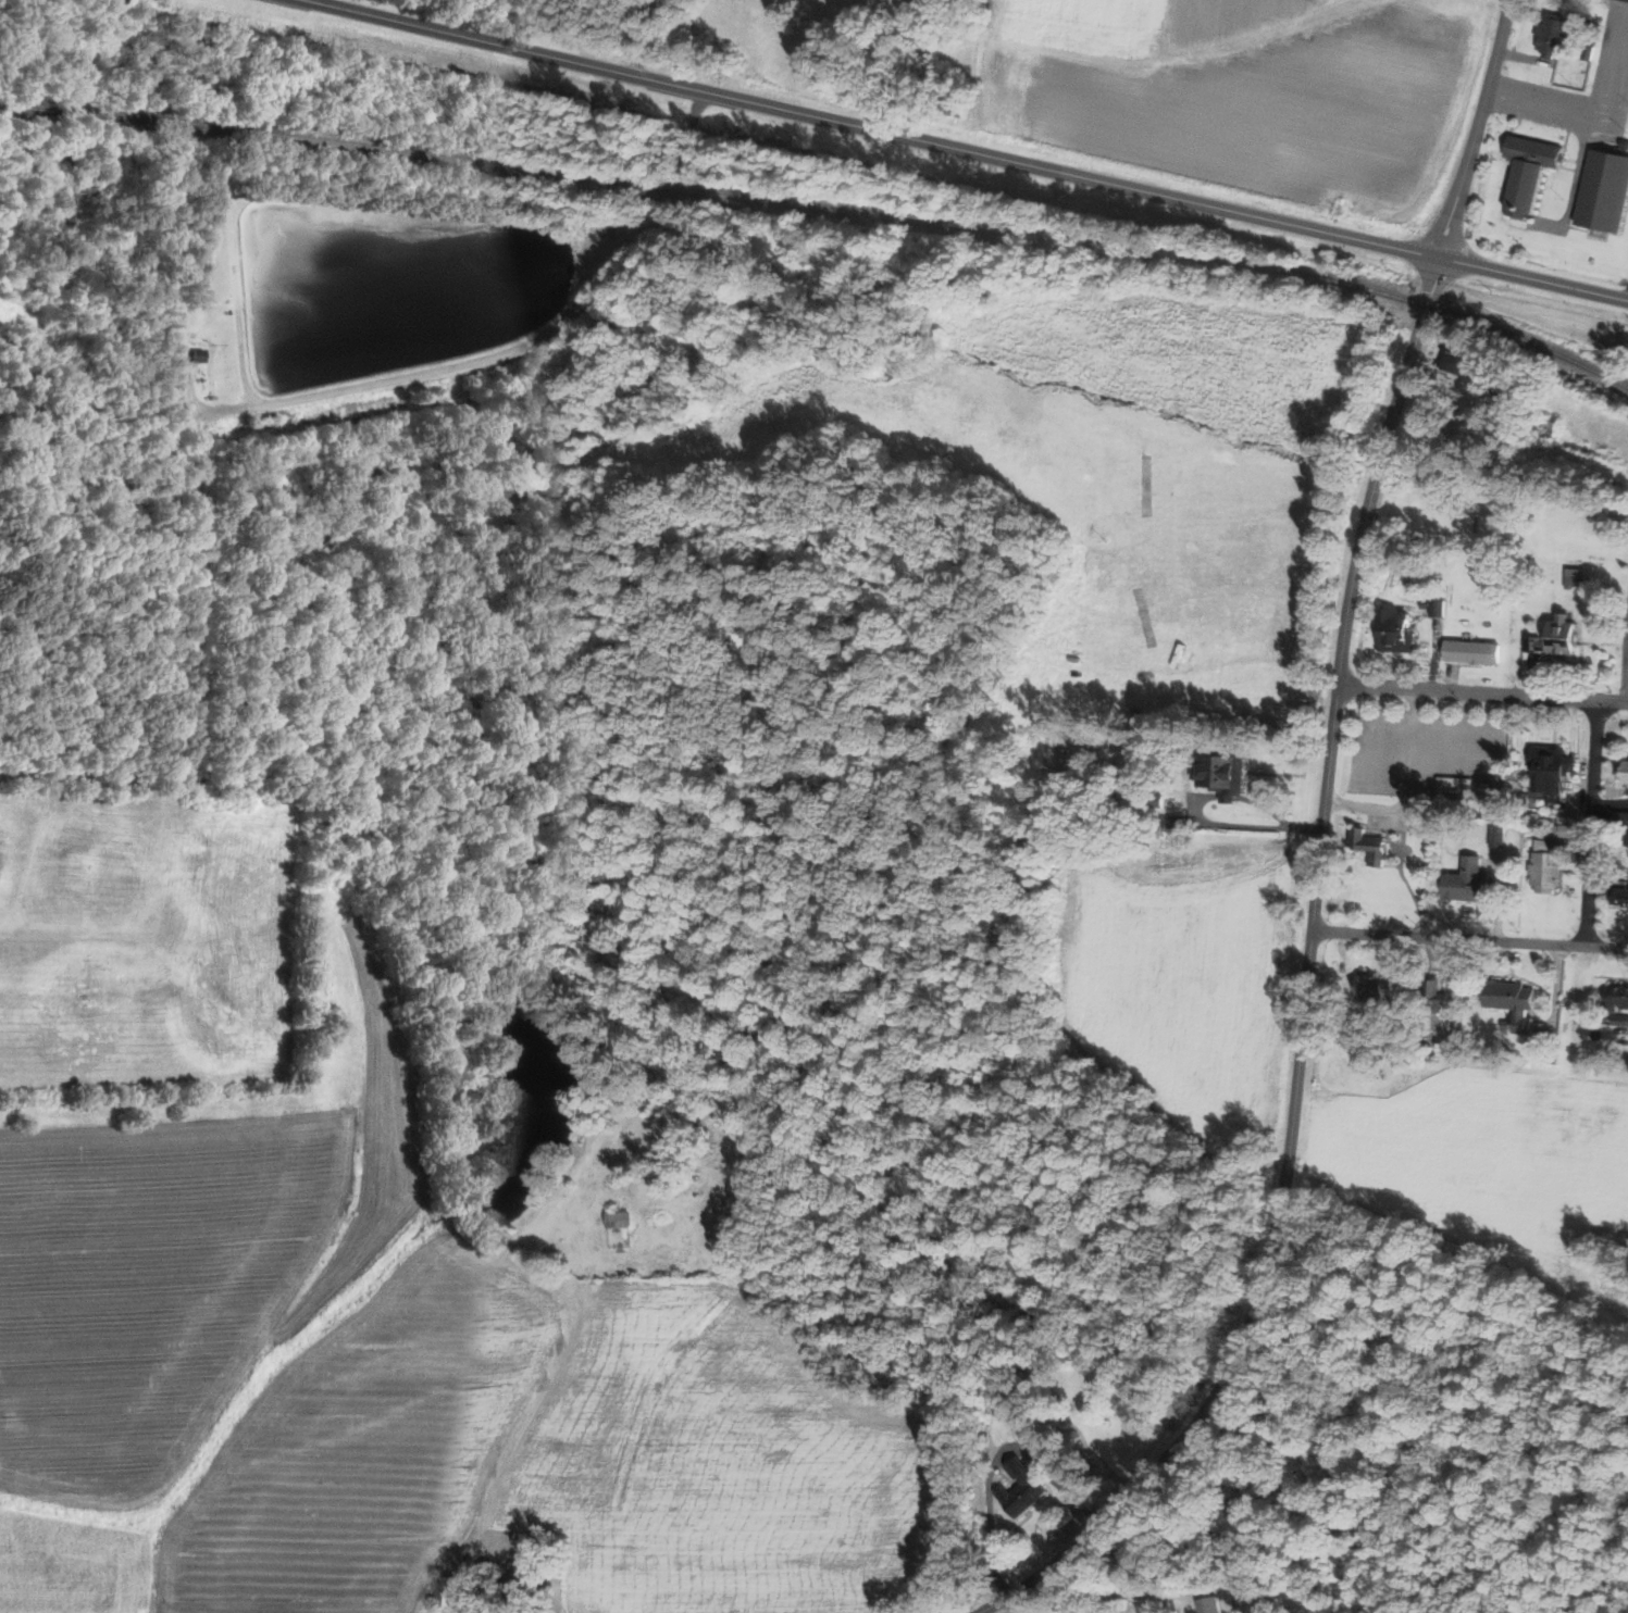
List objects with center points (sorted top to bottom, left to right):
building: (1555, 34)
building: (1589, 52)
road: (1526, 57)
road: (888, 64)
road: (1618, 80)
road: (1545, 104)
road: (871, 128)
building: (1626, 143)
road: (1509, 161)
building: (1533, 173)
building: (1606, 191)
road: (1573, 199)
railway: (822, 209)
road: (1591, 228)
road: (1590, 235)
road: (1533, 278)
road: (1529, 309)
road: (521, 345)
building: (1457, 363)
road: (1383, 459)
building: (490, 498)
building: (1500, 573)
building: (1575, 576)
building: (1427, 602)
building: (1439, 607)
building: (1397, 629)
building: (1557, 638)
building: (1472, 651)
road: (1483, 693)
building: (1623, 772)
building: (1551, 773)
building: (1225, 774)
building: (1457, 783)
road: (1409, 787)
building: (1425, 817)
building: (1620, 818)
road: (1590, 823)
building: (1559, 825)
building: (1500, 833)
building: (1368, 842)
building: (1548, 866)
building: (1470, 880)
building: (1621, 896)
road: (1464, 937)
building: (1375, 985)
building: (1437, 989)
building: (1618, 997)
building: (1515, 1000)
building: (1620, 1018)
building: (1508, 1024)
building: (1451, 1046)
road: (1288, 1138)
crop: (1484, 1148)
building: (620, 1218)
building: (1019, 1488)
road: (1128, 1497)
building: (450, 1593)
building: (1208, 1605)

